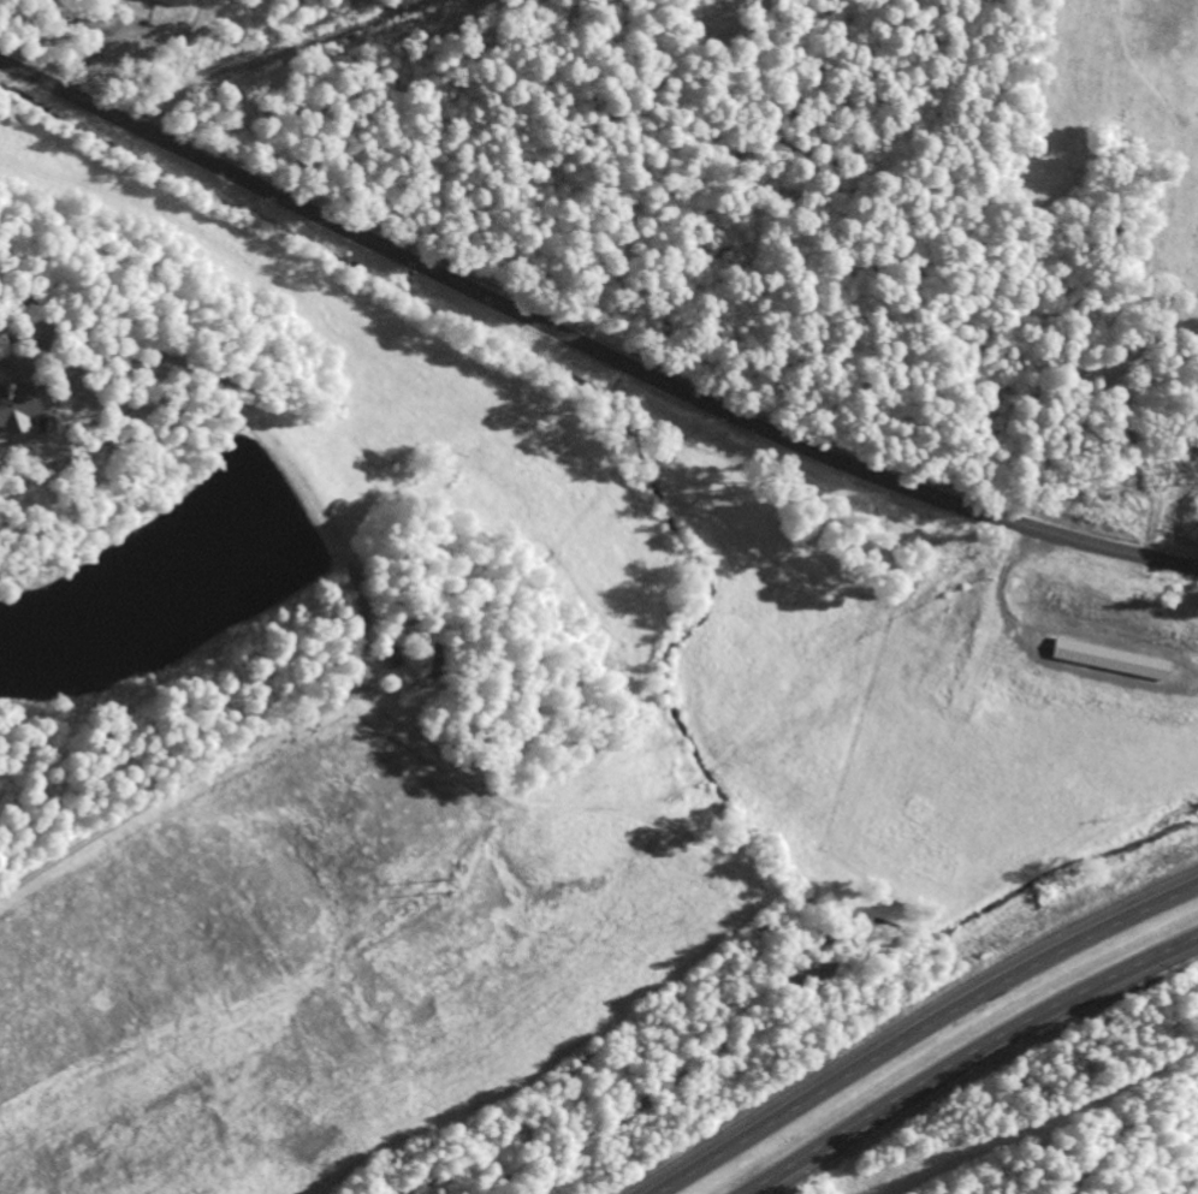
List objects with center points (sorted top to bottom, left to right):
road: (587, 346)
power tower: (939, 622)
road: (1039, 655)
building: (1110, 655)
power tower: (437, 886)
road: (921, 1029)
road: (968, 1057)

